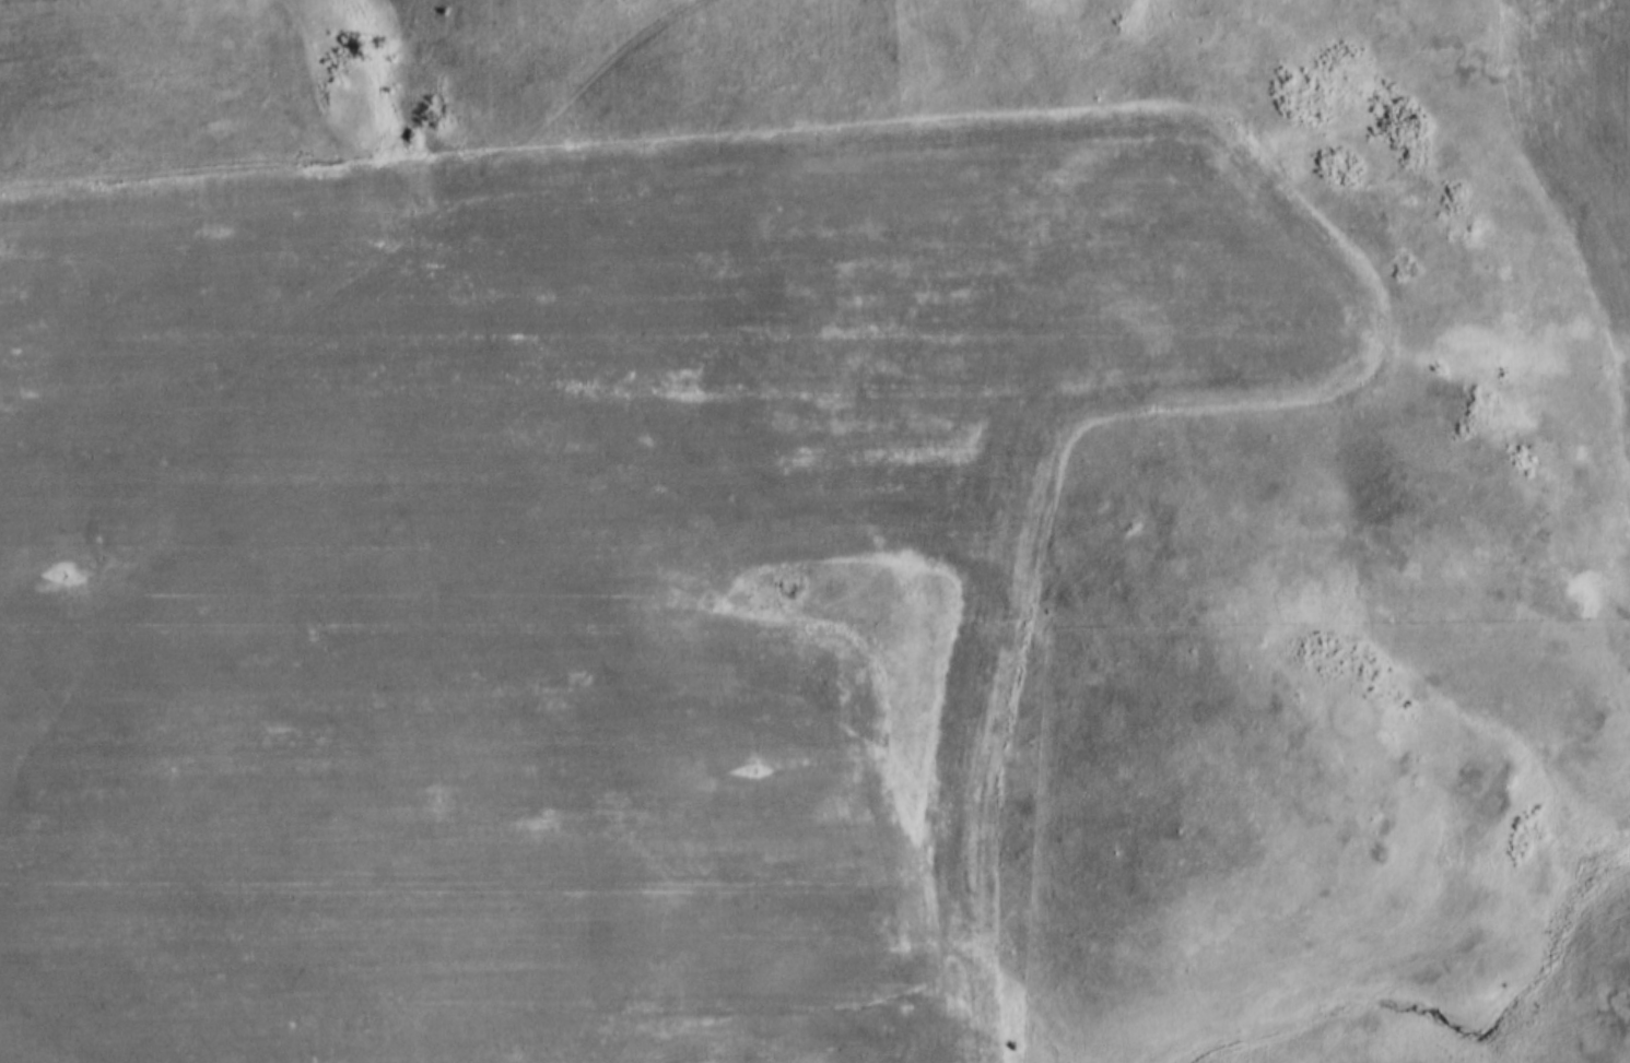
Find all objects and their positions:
road: (375, 154)

